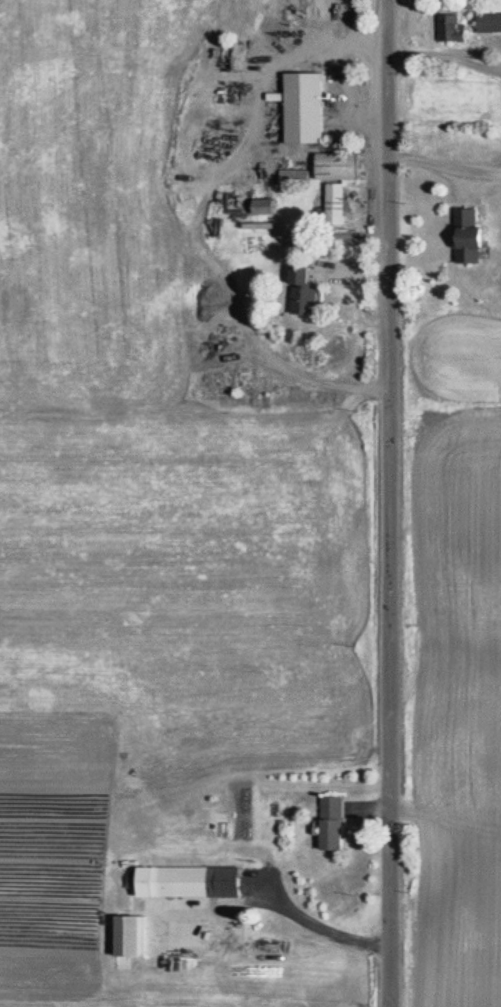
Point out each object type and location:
road: (347, 24)
building: (491, 25)
building: (456, 30)
road: (440, 58)
building: (310, 111)
road: (439, 167)
building: (343, 170)
building: (340, 208)
building: (271, 210)
road: (195, 216)
building: (474, 240)
building: (310, 294)
road: (379, 503)
building: (338, 826)
building: (195, 885)
road: (312, 920)
building: (137, 939)

